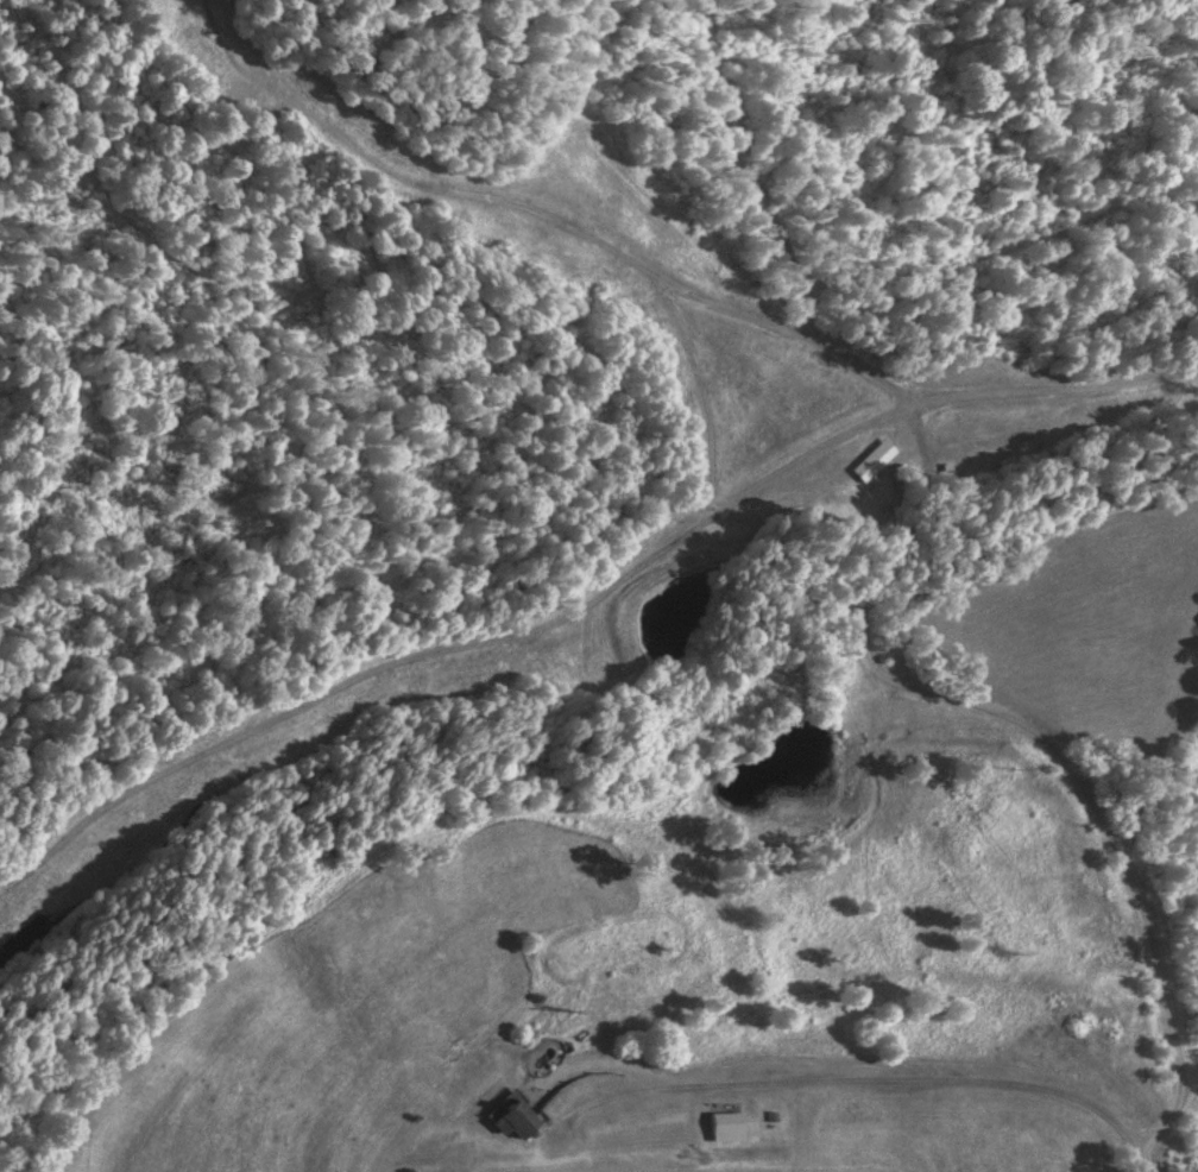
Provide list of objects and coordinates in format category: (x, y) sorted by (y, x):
road: (971, 510)
building: (507, 1117)
building: (717, 1128)

